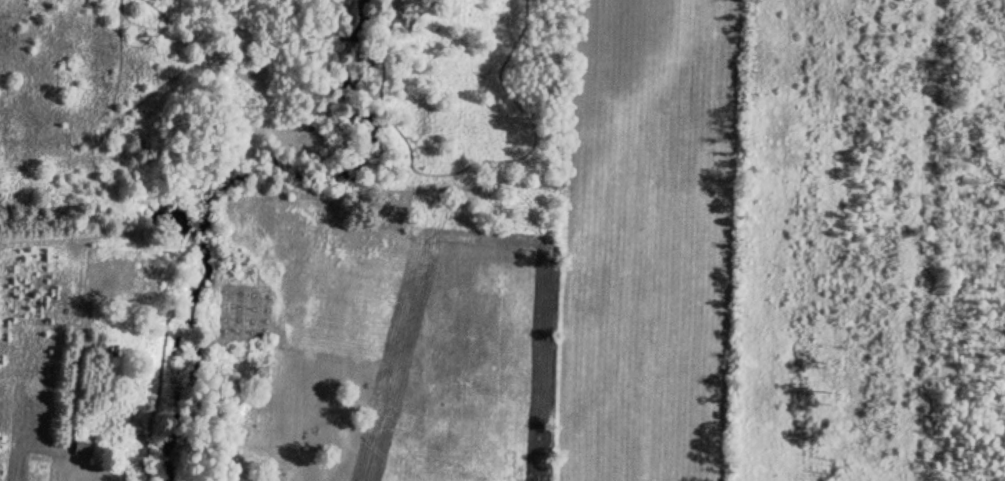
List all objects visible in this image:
building: (78, 448)

